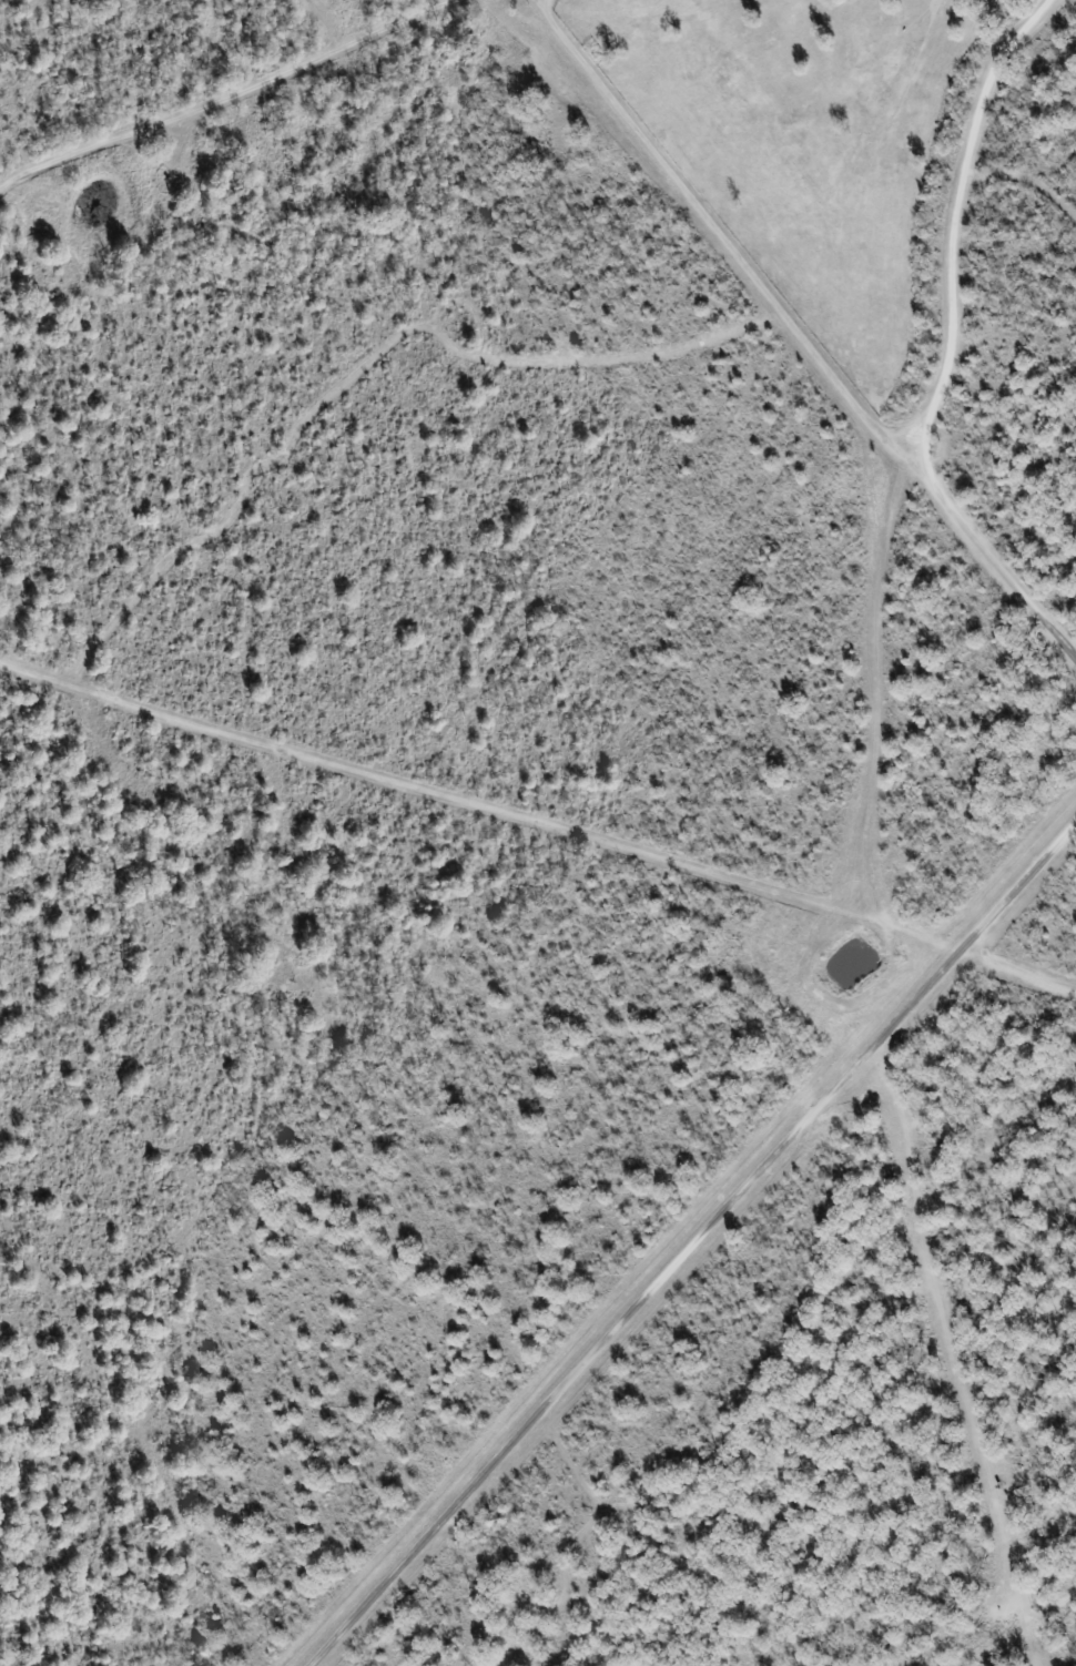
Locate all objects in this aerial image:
road: (952, 346)
road: (696, 1243)

